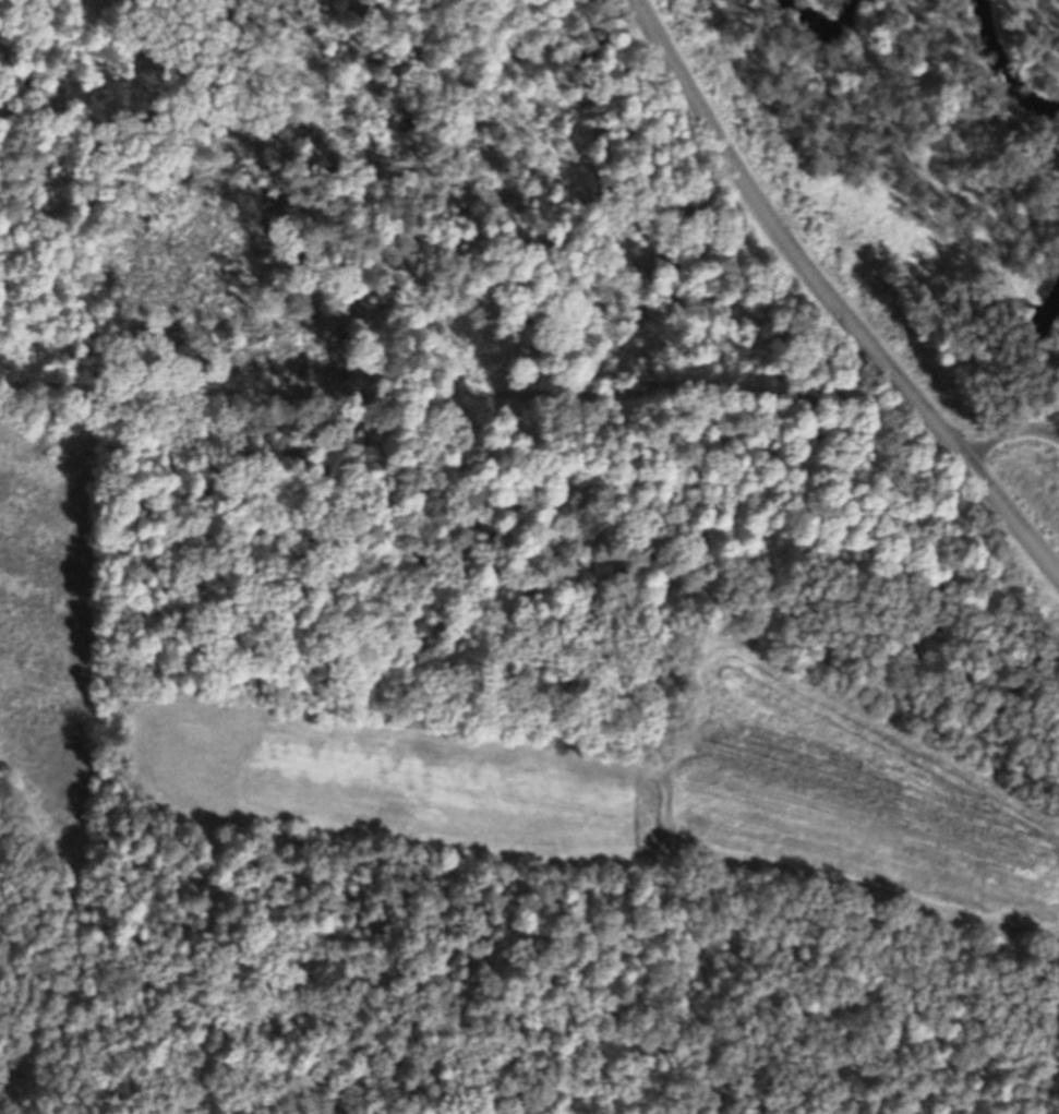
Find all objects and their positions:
river: (828, 4)
river: (1023, 35)
road: (829, 300)
road: (1010, 434)

